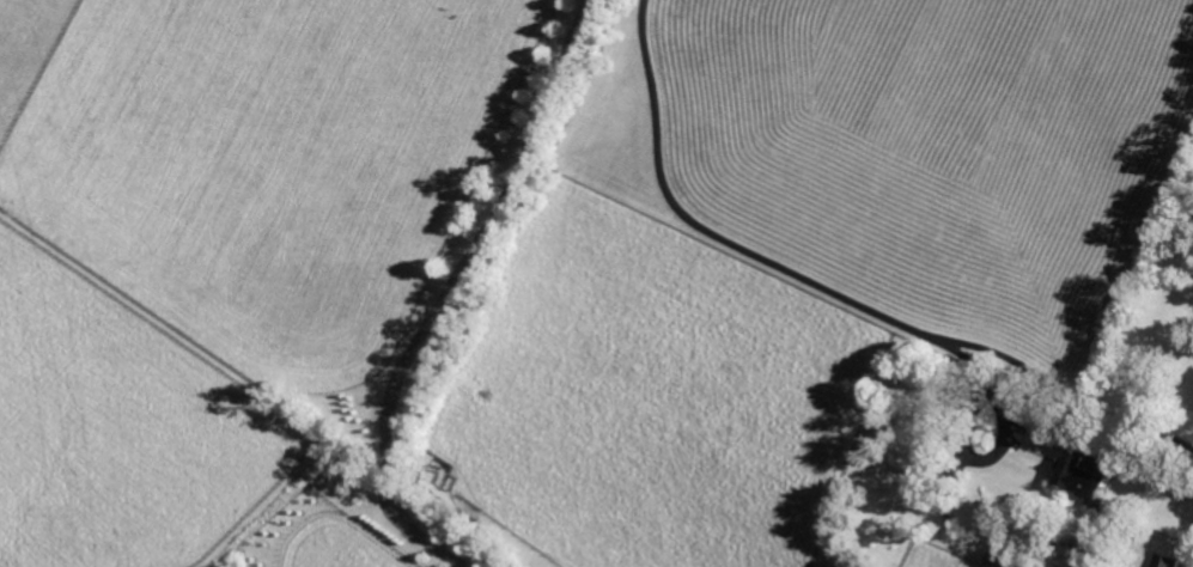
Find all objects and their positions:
road: (734, 240)
road: (449, 292)
road: (1067, 388)
road: (987, 458)

